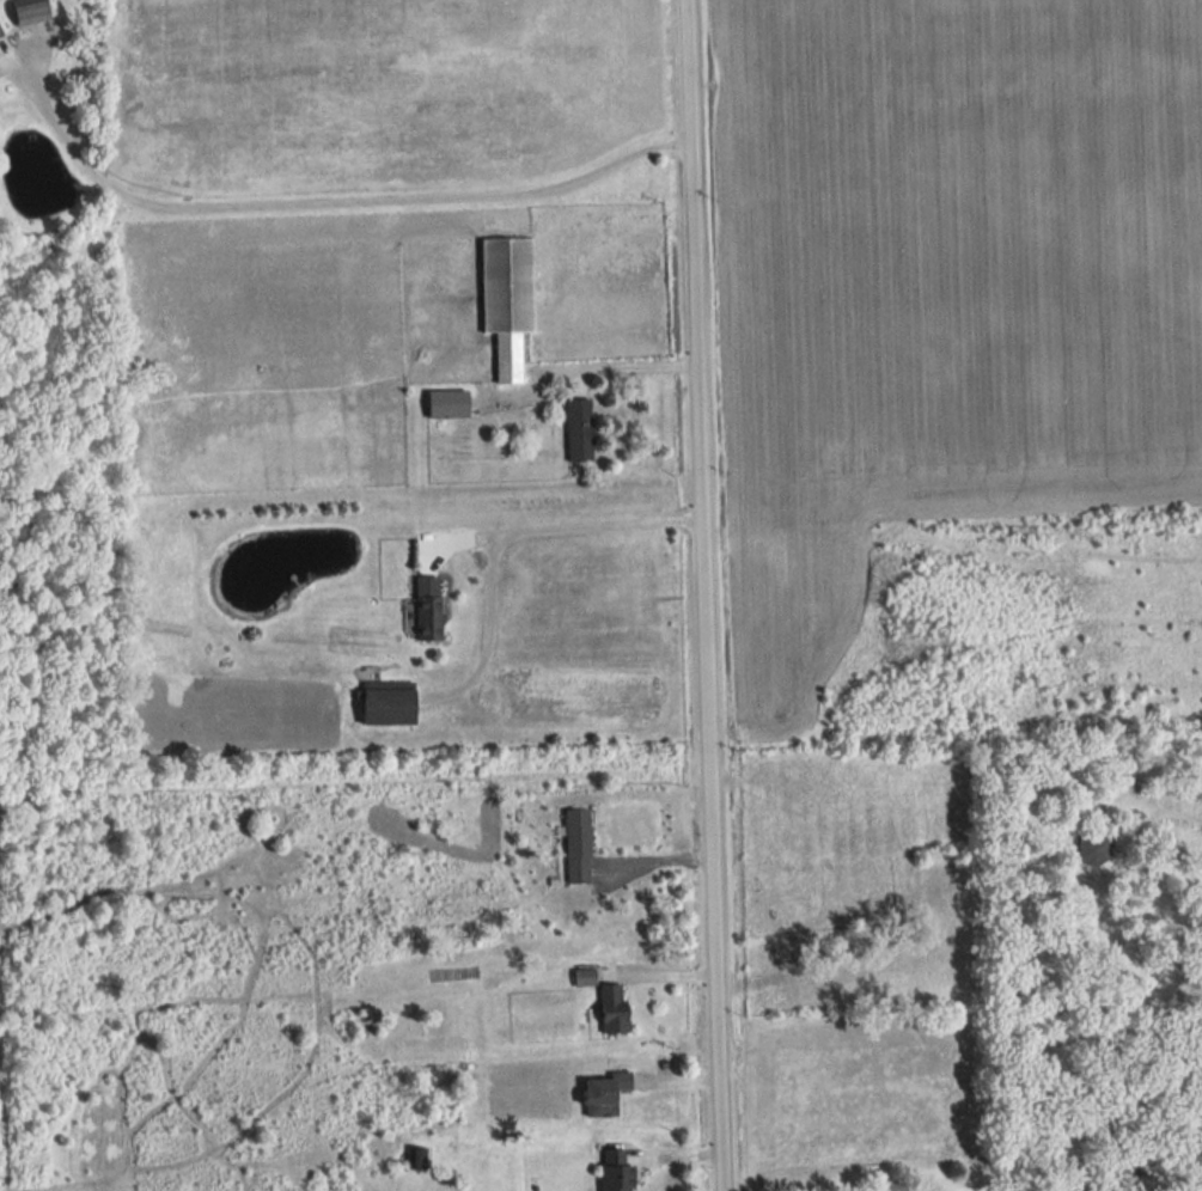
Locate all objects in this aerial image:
building: (30, 11)
building: (5, 65)
road: (336, 201)
building: (502, 300)
road: (626, 364)
building: (443, 404)
building: (574, 430)
road: (560, 527)
road: (702, 595)
building: (419, 610)
building: (383, 702)
building: (1090, 847)
building: (608, 1009)
building: (599, 1094)
building: (414, 1158)
building: (610, 1172)

